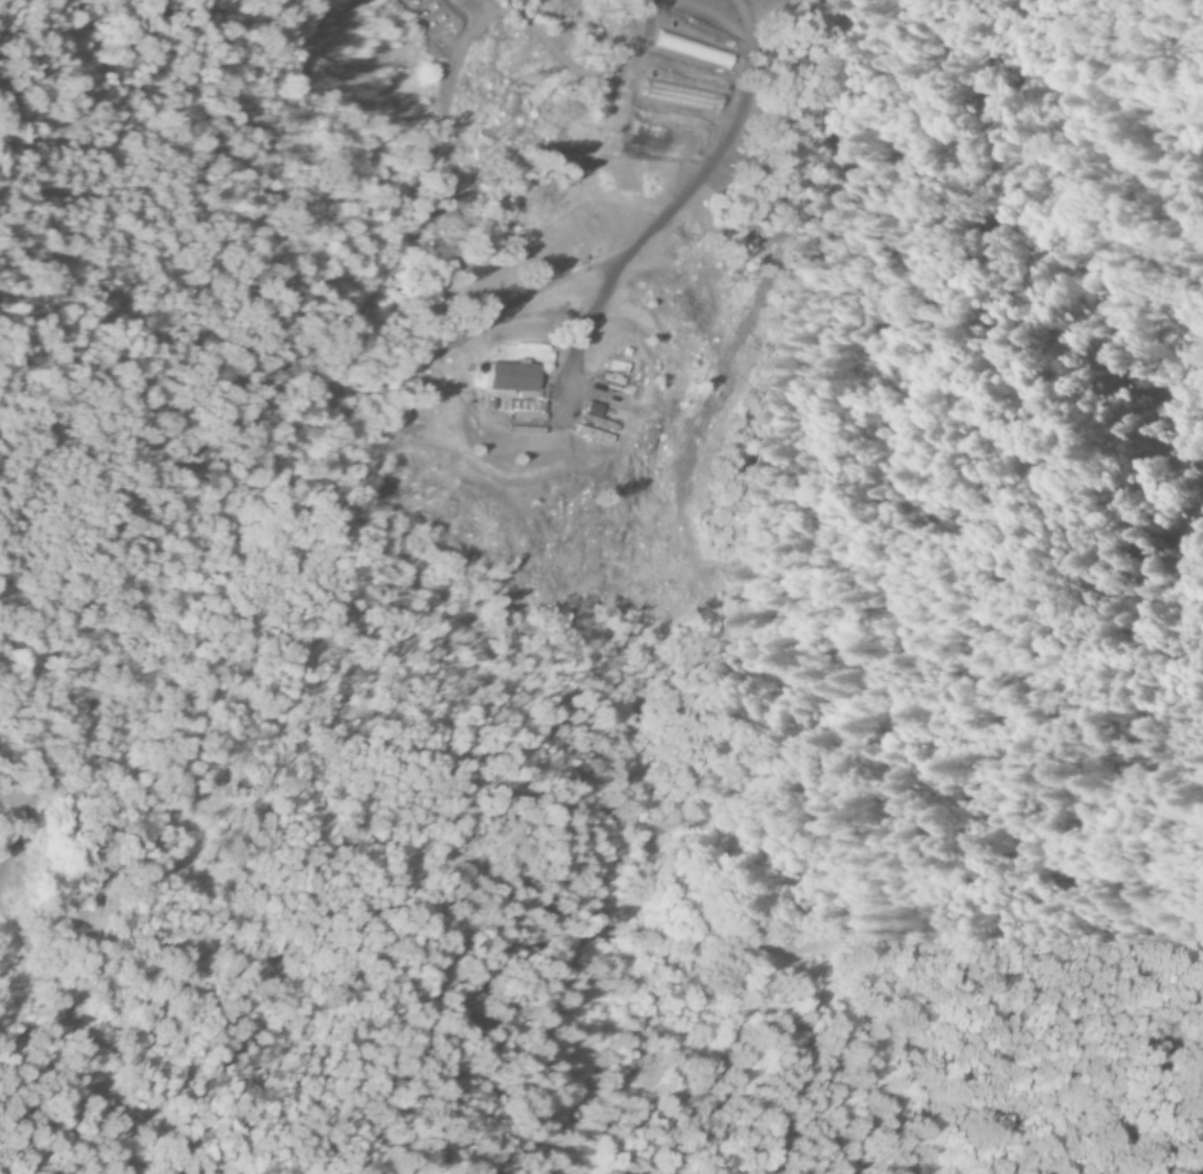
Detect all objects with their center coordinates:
building: (512, 379)

